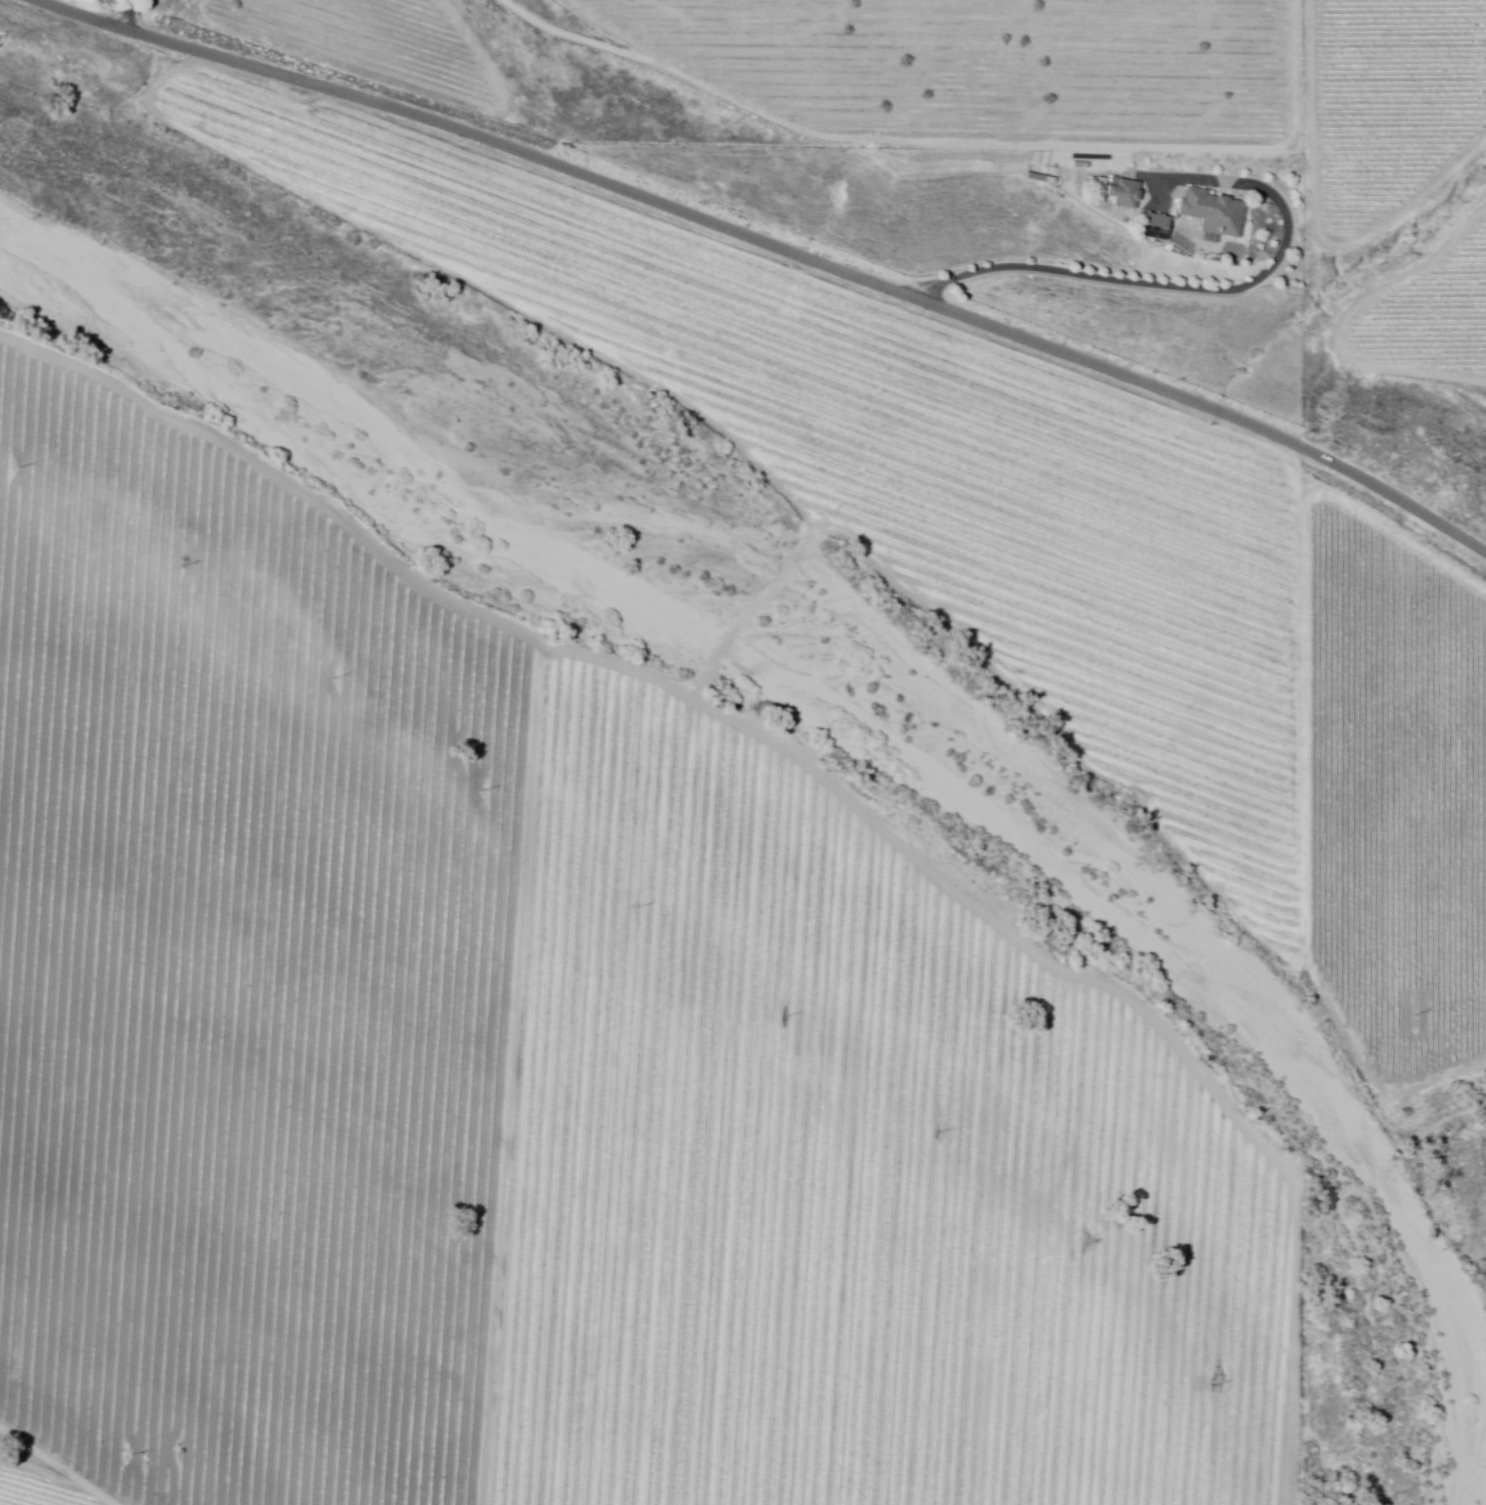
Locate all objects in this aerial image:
road: (130, 14)
building: (1100, 186)
building: (1130, 194)
building: (1216, 212)
building: (1161, 227)
road: (777, 249)
road: (1138, 282)
crop: (909, 462)
river: (732, 643)
crop: (1394, 771)
crop: (544, 1068)
river: (1419, 1333)
crop: (35, 1484)

